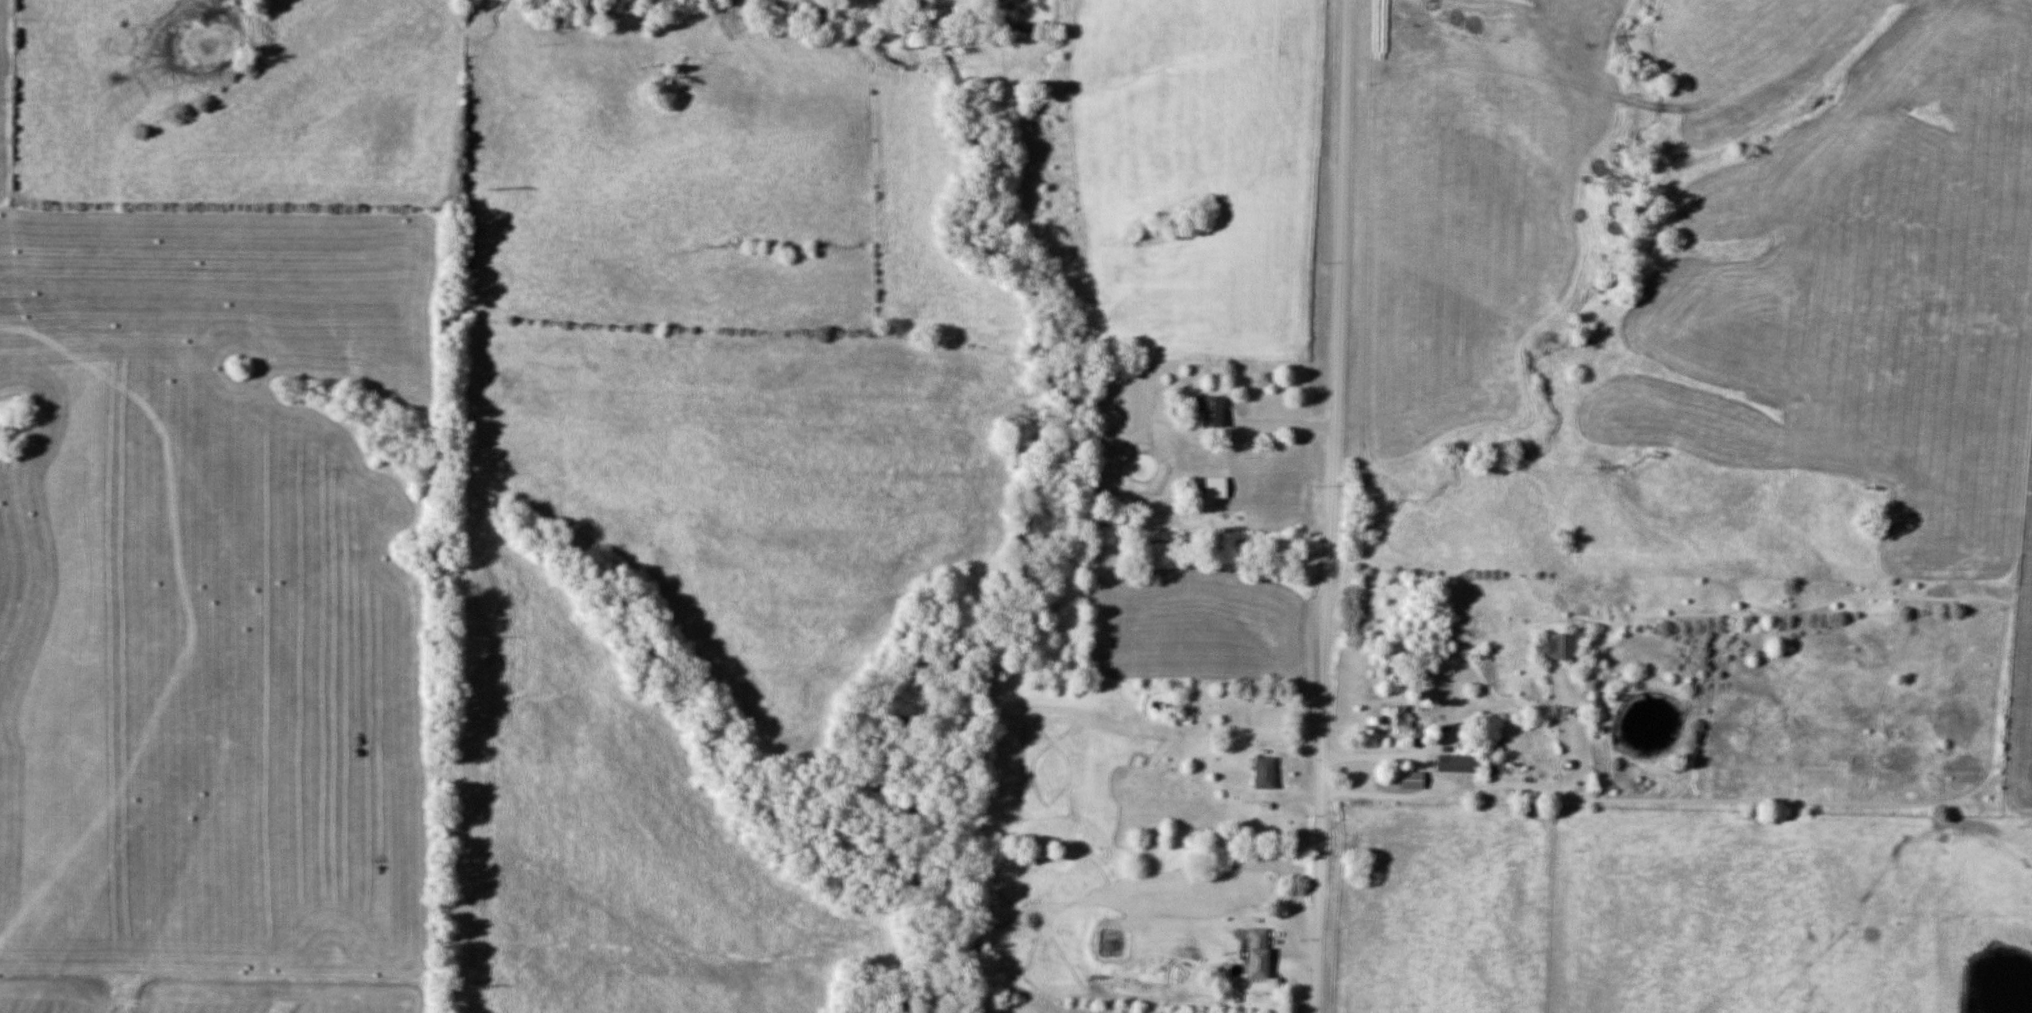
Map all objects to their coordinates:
building: (1214, 410)
building: (1217, 487)
road: (1333, 506)
building: (1565, 645)
building: (1399, 716)
building: (1459, 763)
building: (1493, 765)
building: (1267, 772)
building: (1259, 954)

